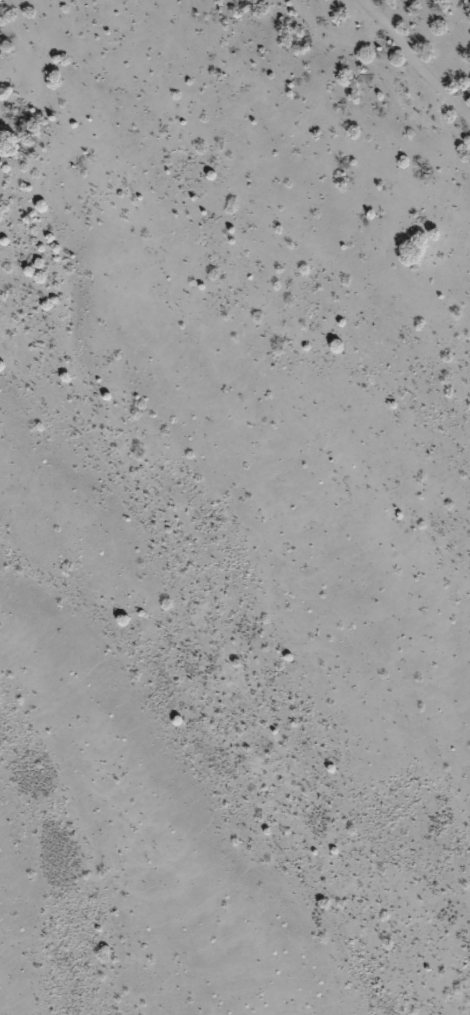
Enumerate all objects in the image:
road: (415, 67)

